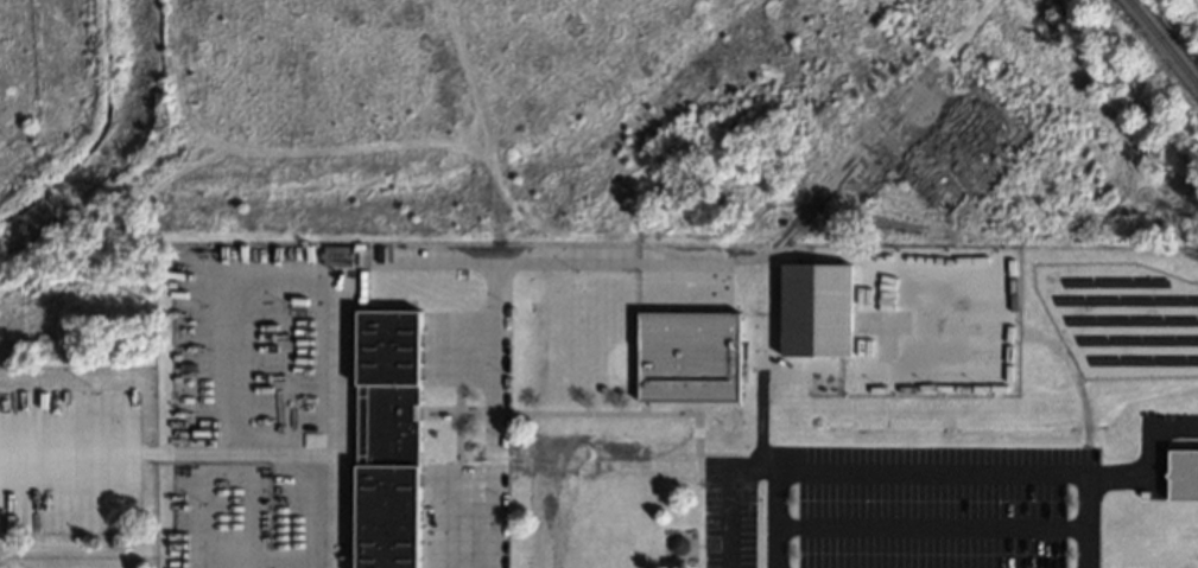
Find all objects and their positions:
railway: (1162, 42)
road: (421, 256)
road: (715, 257)
building: (818, 309)
building: (689, 357)
building: (603, 389)
building: (389, 439)
road: (166, 457)
road: (932, 470)
building: (1183, 474)
building: (679, 545)

